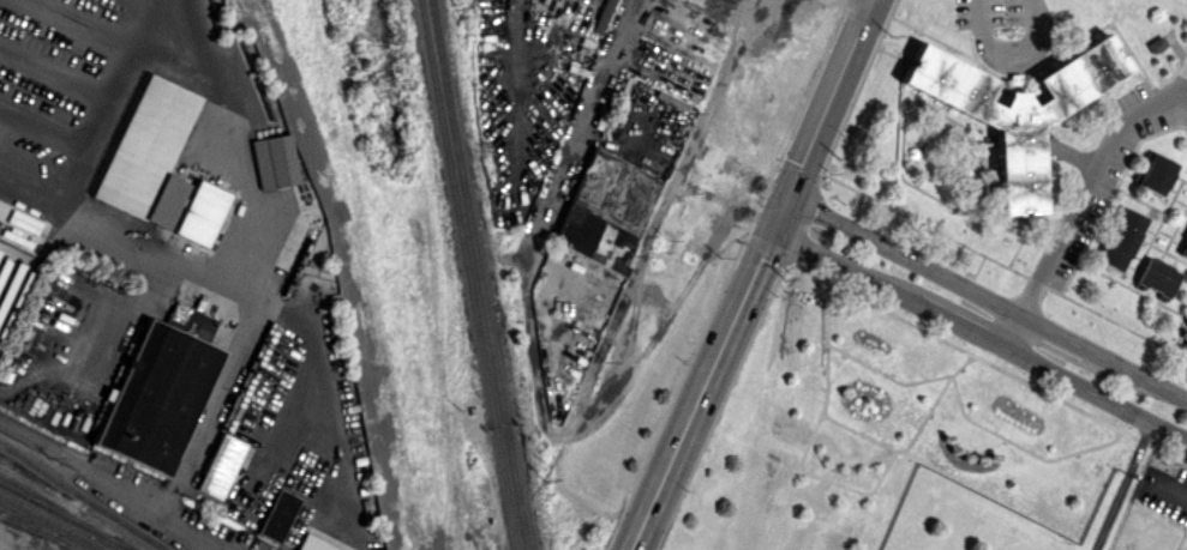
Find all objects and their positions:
road: (861, 2)
building: (601, 16)
road: (985, 24)
road: (1025, 38)
road: (827, 96)
road: (109, 99)
building: (1013, 109)
road: (583, 121)
road: (233, 143)
building: (149, 152)
building: (274, 161)
building: (1155, 174)
traffic signals: (786, 193)
road: (1084, 206)
building: (606, 210)
road: (778, 211)
building: (200, 212)
traffic signals: (771, 230)
building: (1119, 237)
building: (1183, 248)
railway: (468, 274)
railway: (479, 274)
railway: (774, 276)
building: (1156, 276)
road: (222, 289)
road: (985, 296)
road: (616, 310)
building: (0, 314)
road: (979, 332)
building: (1185, 344)
building: (158, 389)
road: (695, 389)
building: (220, 465)
road: (109, 481)
road: (1121, 484)
railway: (83, 496)
road: (1175, 498)
building: (277, 514)
railway: (66, 515)
railway: (53, 522)
railway: (41, 528)
railway: (40, 532)
building: (313, 544)
road: (208, 548)

